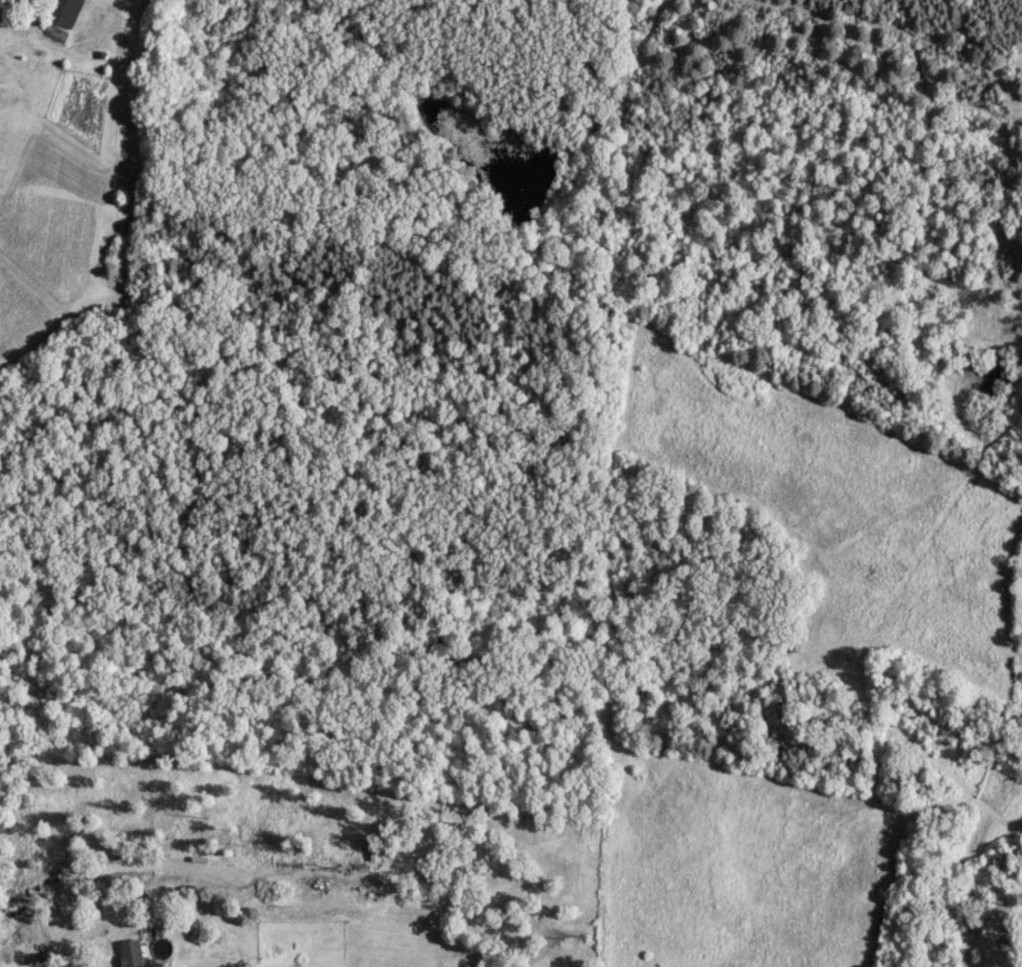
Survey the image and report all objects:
building: (60, 11)
road: (983, 922)
building: (12, 948)
building: (128, 952)

